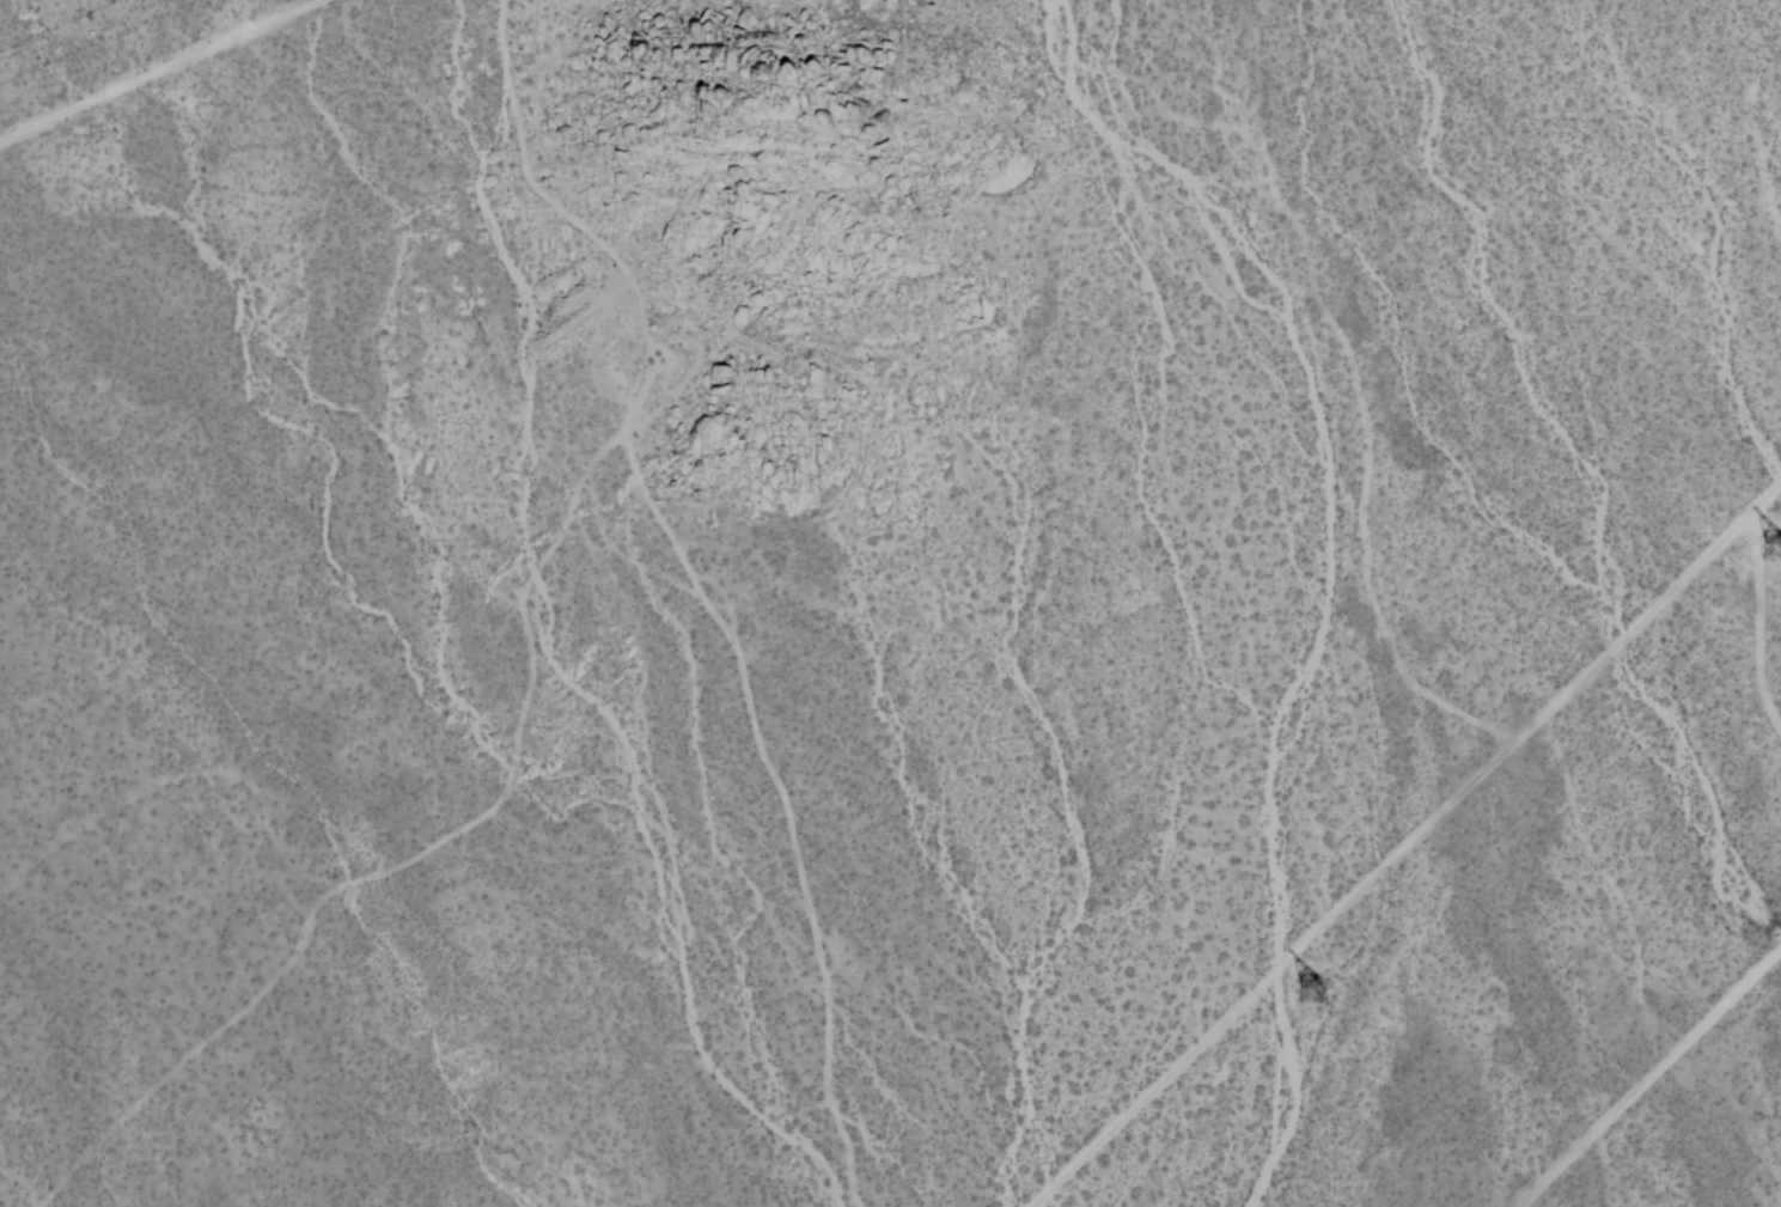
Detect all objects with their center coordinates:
road: (163, 71)
power tower: (1759, 548)
power tower: (1305, 980)
road: (1642, 1075)

